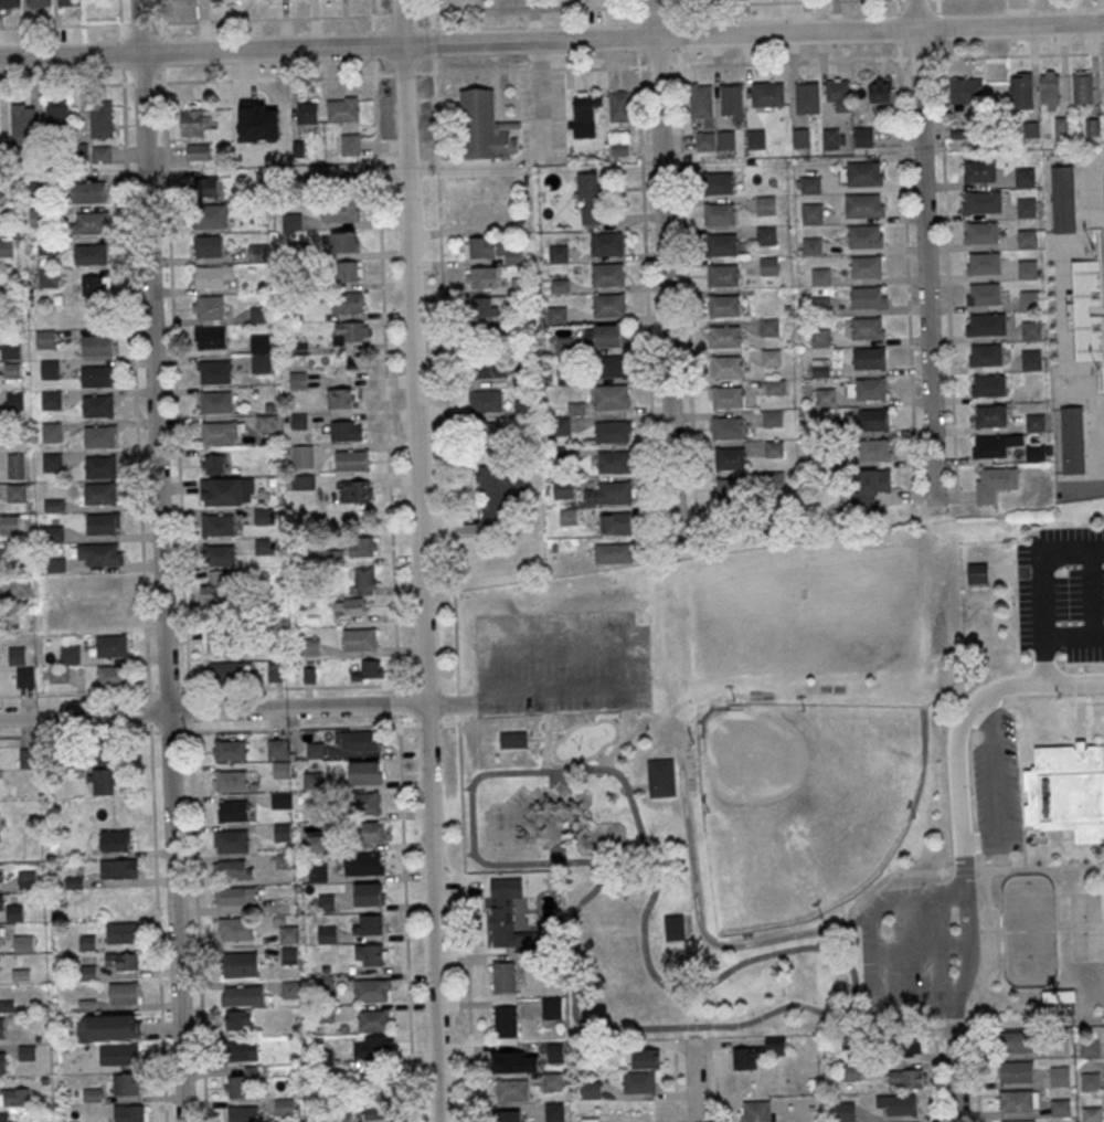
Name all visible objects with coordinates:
building: (224, 0)
building: (38, 2)
building: (9, 3)
road: (371, 8)
road: (119, 11)
road: (160, 11)
road: (222, 20)
road: (677, 32)
road: (636, 33)
road: (551, 40)
road: (1001, 55)
road: (818, 61)
road: (339, 75)
building: (1082, 87)
building: (882, 89)
building: (966, 89)
building: (1050, 89)
building: (1020, 91)
building: (767, 93)
building: (839, 93)
building: (808, 97)
building: (701, 100)
building: (732, 102)
building: (619, 106)
building: (586, 107)
building: (342, 108)
building: (307, 113)
building: (57, 114)
building: (263, 115)
building: (100, 119)
building: (193, 120)
building: (23, 123)
building: (485, 126)
building: (1061, 127)
building: (1031, 129)
building: (862, 136)
building: (802, 137)
building: (756, 138)
building: (834, 138)
building: (725, 140)
building: (350, 144)
building: (619, 147)
building: (198, 151)
building: (100, 154)
building: (979, 170)
building: (863, 173)
building: (1023, 177)
building: (718, 182)
building: (810, 184)
building: (208, 186)
building: (87, 191)
building: (590, 198)
building: (1062, 198)
building: (983, 202)
building: (766, 205)
building: (864, 205)
building: (1025, 208)
building: (340, 210)
building: (813, 212)
building: (719, 214)
building: (210, 215)
building: (291, 220)
building: (93, 221)
building: (981, 231)
building: (766, 234)
building: (863, 235)
building: (1027, 237)
building: (344, 242)
building: (606, 242)
road: (906, 242)
building: (722, 244)
building: (209, 245)
building: (813, 245)
building: (6, 247)
building: (490, 248)
road: (925, 250)
road: (946, 251)
building: (257, 252)
building: (559, 253)
building: (89, 254)
road: (662, 263)
building: (985, 263)
building: (768, 265)
building: (866, 266)
building: (1027, 268)
building: (347, 271)
building: (608, 274)
building: (723, 275)
building: (210, 276)
building: (820, 276)
building: (482, 277)
building: (95, 285)
building: (985, 293)
building: (868, 297)
building: (1029, 299)
building: (347, 301)
building: (609, 304)
building: (724, 305)
building: (820, 305)
building: (208, 307)
building: (485, 307)
building: (558, 314)
building: (987, 324)
building: (768, 327)
building: (867, 328)
building: (1030, 329)
building: (350, 331)
building: (611, 335)
building: (724, 337)
building: (820, 337)
building: (44, 338)
building: (210, 338)
building: (259, 343)
building: (96, 345)
building: (10, 349)
road: (384, 349)
building: (986, 354)
building: (772, 357)
building: (870, 358)
building: (1030, 358)
building: (261, 362)
building: (612, 366)
building: (726, 367)
building: (490, 368)
building: (820, 368)
building: (50, 369)
building: (12, 370)
road: (445, 371)
building: (215, 372)
building: (96, 375)
building: (298, 380)
building: (989, 384)
building: (776, 387)
building: (870, 389)
building: (612, 395)
building: (728, 396)
building: (826, 396)
building: (342, 398)
building: (51, 400)
building: (486, 400)
building: (14, 401)
building: (215, 401)
building: (97, 405)
building: (523, 407)
building: (990, 415)
building: (772, 417)
building: (873, 419)
building: (1034, 422)
building: (264, 423)
building: (560, 425)
building: (726, 427)
building: (51, 431)
building: (346, 431)
building: (614, 431)
building: (216, 432)
building: (490, 433)
building: (98, 436)
building: (1071, 440)
building: (989, 446)
building: (878, 449)
building: (1034, 453)
building: (301, 456)
building: (729, 458)
building: (351, 461)
building: (51, 462)
building: (613, 462)
building: (214, 463)
building: (15, 465)
building: (99, 466)
building: (302, 481)
building: (995, 483)
building: (563, 488)
building: (869, 488)
building: (725, 489)
building: (226, 490)
building: (354, 490)
building: (501, 491)
building: (17, 493)
building: (99, 493)
building: (609, 493)
road: (1084, 493)
building: (263, 516)
building: (567, 516)
building: (103, 522)
building: (616, 522)
building: (9, 523)
building: (216, 525)
building: (264, 546)
building: (362, 546)
building: (99, 553)
building: (613, 553)
building: (219, 554)
road: (420, 560)
road: (159, 561)
park: (879, 567)
road: (1043, 570)
road: (1013, 571)
building: (976, 573)
building: (364, 579)
building: (20, 585)
building: (213, 589)
parking lot: (1063, 593)
road: (1090, 594)
building: (110, 603)
building: (353, 605)
park: (879, 607)
park: (806, 614)
park: (733, 622)
building: (70, 623)
road: (1074, 637)
building: (359, 638)
building: (219, 641)
building: (110, 645)
building: (309, 646)
park: (881, 647)
building: (68, 654)
building: (15, 655)
road: (1044, 661)
road: (1074, 664)
parking lot: (561, 665)
road: (623, 667)
building: (370, 670)
building: (229, 671)
building: (275, 671)
building: (57, 674)
building: (24, 676)
building: (112, 676)
road: (426, 682)
road: (1032, 686)
road: (73, 692)
road: (1081, 694)
road: (212, 711)
road: (1081, 721)
road: (428, 723)
road: (397, 724)
road: (75, 733)
road: (535, 738)
road: (620, 738)
building: (511, 739)
building: (359, 740)
road: (544, 748)
building: (277, 749)
building: (230, 751)
building: (28, 758)
building: (280, 769)
building: (102, 772)
building: (364, 772)
building: (661, 776)
building: (231, 781)
road: (466, 787)
parking lot: (997, 787)
road: (638, 788)
road: (996, 788)
building: (1068, 791)
building: (282, 800)
park: (754, 801)
building: (364, 803)
park: (805, 805)
building: (233, 812)
building: (282, 832)
building: (370, 833)
road: (1023, 833)
building: (114, 839)
building: (232, 841)
road: (555, 853)
road: (468, 854)
building: (284, 860)
building: (363, 865)
building: (118, 868)
building: (232, 869)
road: (944, 874)
building: (26, 879)
building: (369, 895)
building: (235, 896)
building: (1, 903)
road: (1057, 906)
road: (696, 909)
park: (1084, 910)
building: (506, 912)
road: (965, 914)
road: (859, 920)
road: (405, 923)
building: (367, 924)
road: (157, 927)
building: (675, 928)
building: (237, 930)
road: (981, 931)
building: (121, 932)
park: (1029, 932)
building: (327, 933)
building: (288, 934)
building: (0, 939)
building: (23, 943)
road: (997, 948)
park: (1086, 948)
road: (919, 949)
road: (871, 951)
building: (370, 954)
building: (289, 955)
parking lot: (904, 957)
building: (123, 961)
building: (240, 964)
road: (729, 970)
building: (503, 976)
building: (290, 988)
building: (371, 991)
building: (123, 993)
building: (242, 996)
building: (1059, 996)
building: (551, 1007)
building: (238, 1019)
building: (373, 1020)
building: (506, 1020)
building: (108, 1027)
building: (2, 1028)
building: (1015, 1041)
building: (911, 1046)
building: (372, 1047)
building: (1058, 1048)
building: (1090, 1049)
building: (240, 1050)
building: (555, 1051)
building: (26, 1052)
building: (757, 1052)
building: (118, 1054)
building: (646, 1058)
building: (2, 1062)
building: (516, 1062)
road: (976, 1070)
building: (851, 1071)
building: (1015, 1071)
building: (1060, 1078)
building: (907, 1079)
road: (715, 1080)
building: (552, 1081)
road: (676, 1081)
road: (694, 1081)
building: (241, 1082)
building: (639, 1082)
building: (1091, 1082)
building: (127, 1083)
road: (936, 1083)
building: (512, 1090)
building: (14, 1097)
building: (1016, 1100)
building: (902, 1105)
building: (283, 1107)
building: (378, 1108)
building: (1060, 1108)
building: (554, 1111)
building: (842, 1111)
building: (757, 1112)
building: (130, 1113)
building: (243, 1114)
building: (1093, 1114)
building: (4, 1118)
building: (509, 1118)
building: (1020, 1121)

